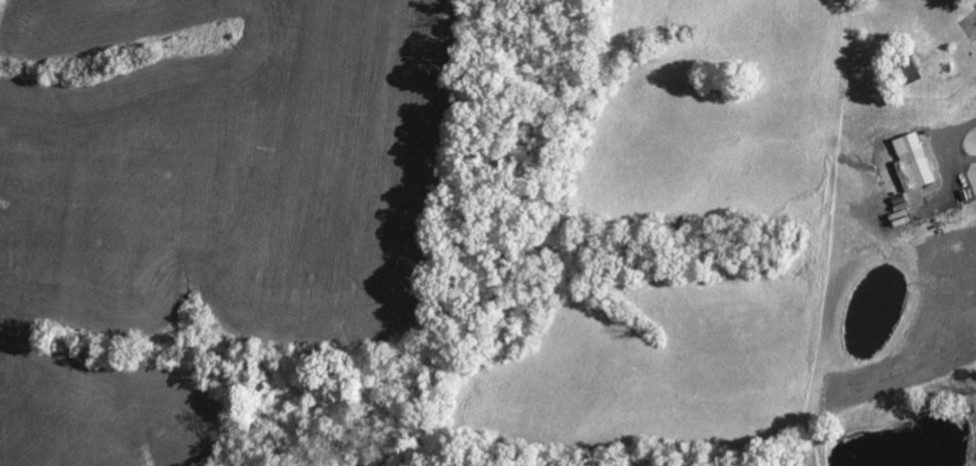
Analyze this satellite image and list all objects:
building: (862, 33)
building: (907, 68)
road: (951, 144)
building: (914, 165)
building: (785, 457)

